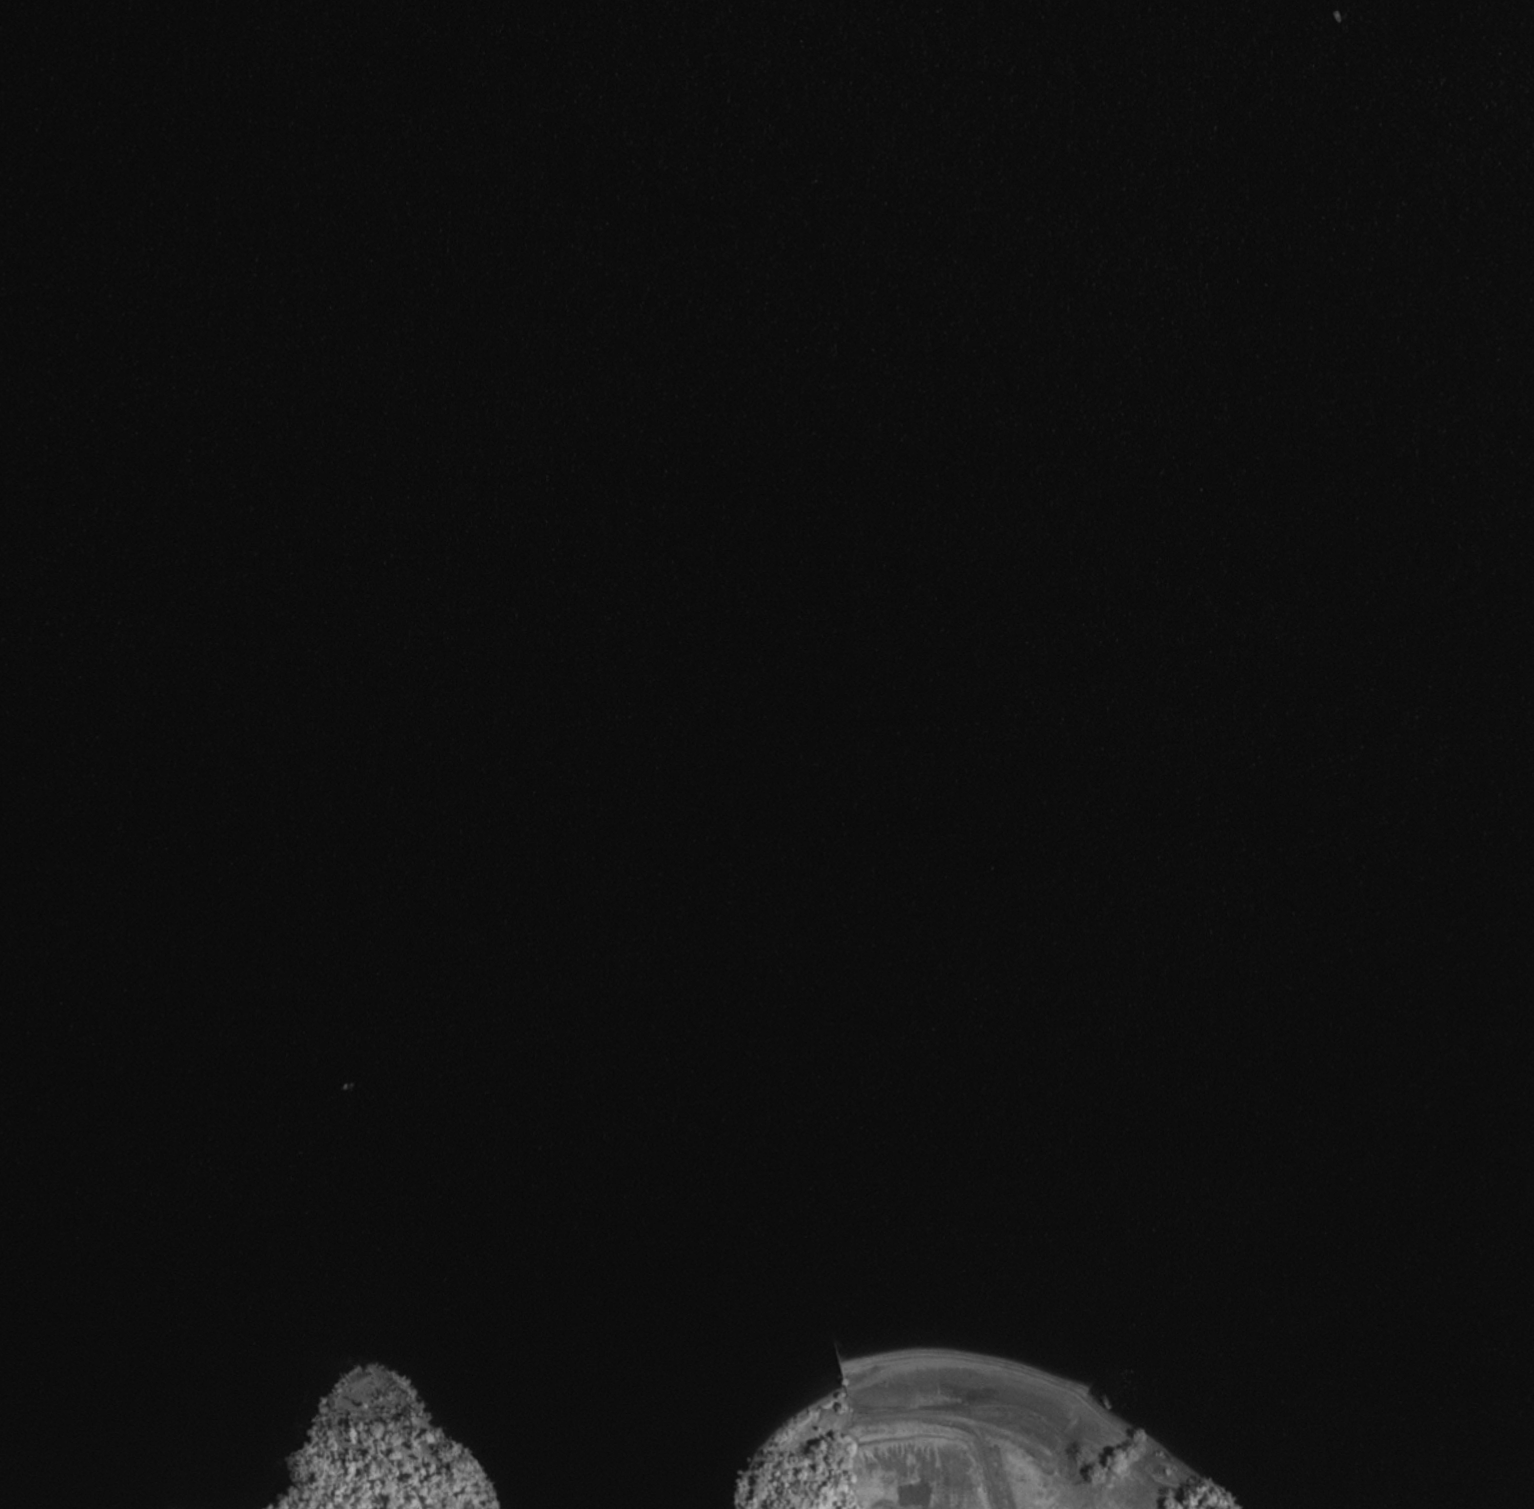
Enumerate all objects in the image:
road: (988, 1458)

